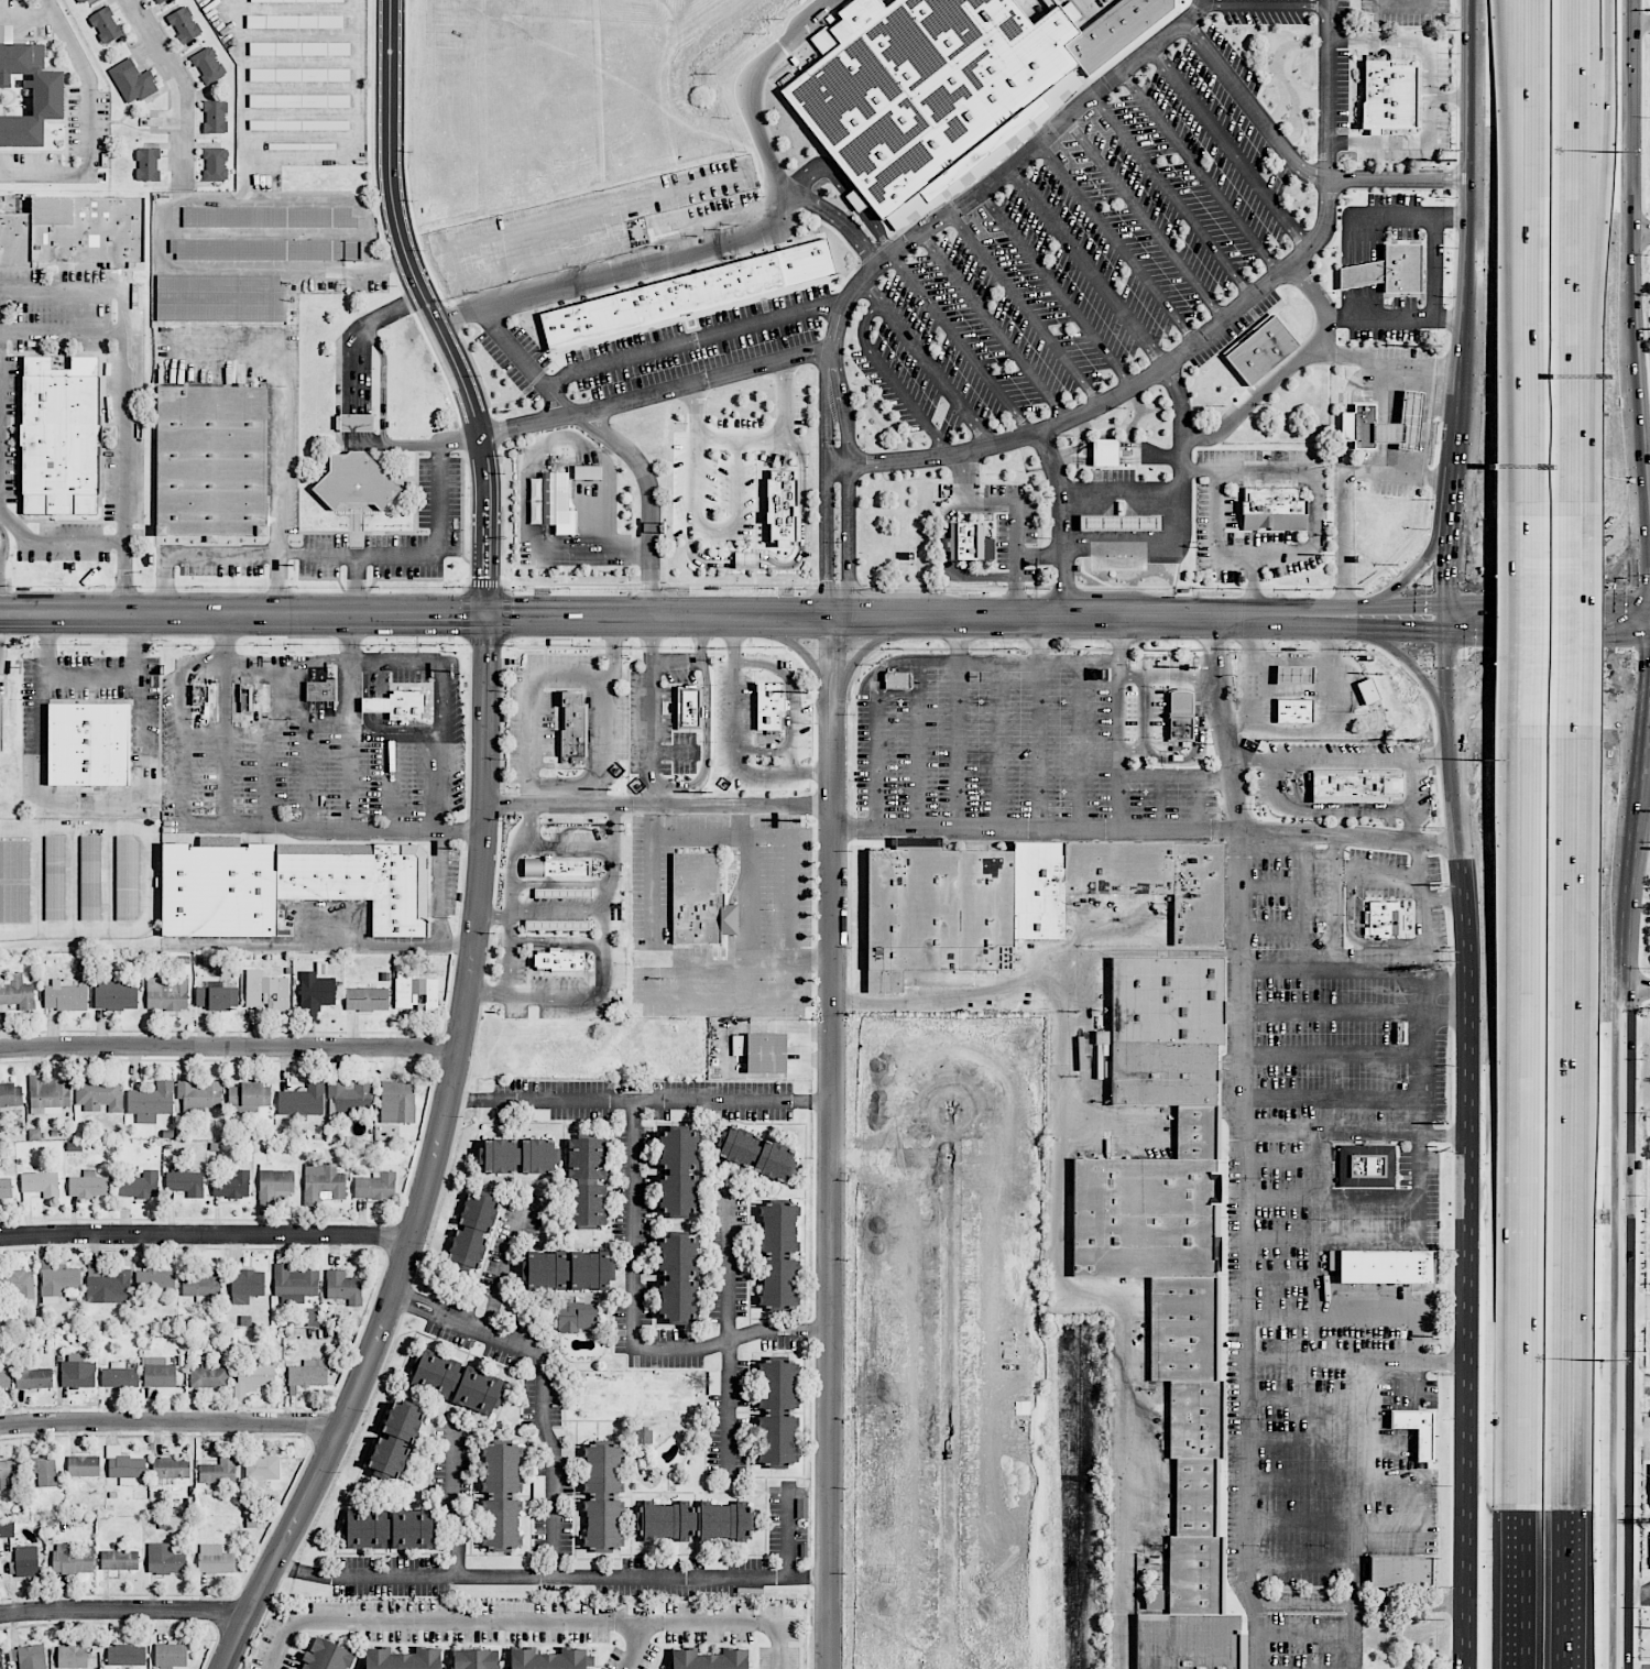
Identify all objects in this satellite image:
building: (81, 1)
building: (161, 1)
building: (302, 1)
road: (1406, 1)
road: (1263, 4)
road: (30, 14)
building: (294, 21)
road: (1638, 21)
building: (184, 24)
building: (106, 25)
building: (1112, 29)
building: (299, 48)
building: (208, 66)
building: (299, 75)
building: (132, 81)
building: (922, 84)
road: (751, 85)
road: (183, 86)
road: (1428, 90)
building: (26, 91)
building: (1388, 94)
road: (1454, 97)
building: (299, 100)
road: (1249, 107)
road: (1626, 116)
building: (215, 117)
building: (298, 126)
road: (92, 127)
road: (1528, 139)
road: (1538, 139)
road: (1230, 146)
building: (147, 164)
building: (215, 164)
road: (1200, 172)
road: (1403, 179)
road: (1480, 183)
road: (981, 185)
road: (849, 194)
road: (1170, 196)
road: (8, 205)
building: (267, 217)
road: (1457, 217)
road: (1144, 219)
road: (1638, 231)
building: (75, 233)
road: (1117, 240)
road: (1354, 240)
road: (1589, 241)
road: (1581, 242)
building: (265, 250)
road: (703, 250)
road: (1086, 266)
building: (1401, 269)
building: (1361, 274)
road: (1355, 276)
road: (1434, 282)
road: (1055, 287)
road: (1310, 288)
building: (685, 293)
building: (220, 297)
road: (1355, 303)
road: (1025, 306)
road: (430, 309)
road: (1454, 319)
road: (993, 326)
road: (1322, 327)
road: (63, 332)
road: (695, 341)
road: (1196, 341)
road: (961, 345)
building: (1261, 349)
road: (1298, 357)
road: (929, 362)
road: (892, 381)
road: (1386, 390)
road: (127, 391)
road: (1466, 391)
road: (358, 393)
road: (657, 393)
road: (1425, 395)
road: (783, 402)
road: (1394, 402)
road: (1411, 404)
road: (1423, 405)
road: (1639, 405)
road: (695, 410)
road: (830, 417)
road: (1536, 418)
building: (354, 423)
building: (1402, 423)
gas station: (1402, 423)
building: (1358, 425)
road: (594, 427)
road: (1401, 427)
road: (1421, 429)
road: (1385, 432)
building: (59, 436)
road: (718, 436)
road: (762, 438)
road: (824, 446)
building: (1104, 450)
road: (1384, 457)
building: (211, 459)
building: (587, 472)
road: (1456, 473)
road: (693, 477)
road: (281, 480)
building: (356, 481)
road: (1344, 487)
road: (1648, 491)
road: (1117, 495)
building: (553, 502)
road: (1315, 502)
road: (737, 503)
building: (782, 506)
building: (1274, 509)
road: (824, 510)
road: (848, 512)
road: (1178, 512)
road: (1017, 515)
road: (1062, 521)
building: (1117, 521)
gas station: (1117, 521)
road: (1581, 522)
road: (1215, 527)
road: (2, 541)
building: (965, 541)
road: (1649, 541)
road: (57, 542)
road: (595, 545)
road: (1041, 553)
road: (346, 554)
road: (794, 564)
road: (1447, 567)
road: (1417, 571)
road: (1547, 579)
road: (359, 585)
traffic signals: (1447, 585)
road: (827, 586)
traffic signals: (1485, 603)
road: (1549, 603)
road: (1384, 604)
traffic signals: (488, 615)
road: (243, 617)
road: (905, 618)
road: (1446, 618)
road: (1533, 624)
road: (1578, 628)
road: (1384, 631)
traffic signals: (1421, 633)
road: (1548, 634)
traffic signals: (1611, 636)
road: (698, 640)
road: (1118, 640)
road: (1039, 641)
road: (1543, 658)
traffic signals: (1649, 658)
road: (317, 659)
road: (402, 661)
road: (1291, 662)
road: (1119, 664)
road: (1416, 667)
road: (1250, 669)
building: (1296, 674)
gas station: (1296, 674)
building: (897, 680)
road: (876, 687)
building: (320, 689)
building: (1367, 690)
building: (199, 695)
building: (247, 697)
road: (793, 697)
road: (529, 701)
road: (442, 702)
road: (1648, 703)
building: (397, 705)
road: (649, 707)
building: (689, 707)
building: (769, 707)
building: (1294, 711)
building: (1180, 714)
road: (278, 717)
road: (351, 720)
road: (315, 721)
building: (1, 723)
road: (1327, 726)
building: (573, 727)
road: (396, 733)
road: (604, 735)
road: (1646, 737)
road: (225, 740)
road: (734, 740)
road: (706, 741)
building: (88, 743)
road: (1038, 745)
road: (1368, 759)
road: (1254, 761)
road: (307, 774)
road: (1174, 774)
building: (1355, 786)
road: (1643, 786)
road: (89, 795)
road: (656, 796)
road: (1411, 801)
road: (659, 804)
road: (1458, 808)
road: (217, 825)
road: (611, 826)
road: (1148, 829)
building: (568, 849)
road: (512, 857)
road: (1639, 858)
building: (15, 860)
road: (612, 866)
building: (555, 868)
building: (54, 877)
building: (90, 877)
building: (128, 877)
road: (149, 880)
building: (1158, 880)
building: (288, 884)
road: (746, 884)
building: (1038, 890)
building: (562, 893)
road: (1445, 897)
building: (697, 899)
road: (605, 901)
road: (442, 902)
building: (14, 903)
building: (939, 908)
road: (1425, 913)
road: (493, 914)
road: (557, 915)
building: (1386, 918)
building: (557, 925)
road: (556, 940)
road: (376, 945)
road: (791, 948)
road: (658, 951)
road: (504, 953)
building: (560, 960)
road: (816, 963)
road: (1338, 978)
road: (1453, 983)
road: (1635, 990)
building: (266, 991)
building: (18, 992)
building: (415, 992)
building: (166, 993)
building: (315, 994)
building: (114, 995)
building: (65, 996)
building: (216, 997)
building: (367, 999)
building: (1167, 1000)
road: (577, 1001)
road: (1647, 1025)
road: (229, 1047)
building: (766, 1052)
road: (1429, 1058)
road: (1648, 1063)
building: (1162, 1073)
building: (48, 1094)
building: (99, 1094)
building: (11, 1095)
building: (199, 1095)
building: (349, 1095)
building: (249, 1098)
road: (642, 1100)
building: (303, 1101)
building: (397, 1101)
building: (151, 1102)
building: (1195, 1131)
road: (1357, 1133)
road: (832, 1143)
road: (1247, 1143)
building: (755, 1153)
building: (518, 1155)
road: (436, 1163)
road: (1620, 1163)
building: (1366, 1166)
building: (678, 1172)
road: (1529, 1179)
building: (185, 1181)
road: (1562, 1181)
building: (587, 1182)
building: (41, 1183)
building: (323, 1183)
building: (139, 1185)
building: (232, 1185)
building: (88, 1186)
building: (375, 1186)
building: (273, 1187)
building: (6, 1188)
building: (1144, 1217)
building: (471, 1232)
road: (207, 1235)
road: (1312, 1240)
road: (1058, 1254)
building: (779, 1255)
building: (1380, 1265)
road: (503, 1266)
road: (726, 1267)
building: (568, 1270)
building: (677, 1277)
building: (57, 1279)
building: (155, 1280)
building: (21, 1283)
building: (203, 1284)
building: (294, 1284)
building: (247, 1285)
building: (108, 1286)
building: (343, 1287)
building: (576, 1316)
building: (313, 1317)
road: (631, 1322)
road: (1468, 1327)
building: (1182, 1328)
road: (1304, 1356)
building: (77, 1372)
building: (159, 1372)
building: (308, 1373)
building: (120, 1375)
building: (208, 1377)
building: (252, 1377)
building: (4, 1378)
building: (34, 1378)
building: (457, 1381)
road: (1635, 1384)
road: (546, 1386)
building: (636, 1396)
road: (728, 1404)
building: (777, 1412)
building: (1194, 1418)
road: (172, 1422)
road: (1635, 1428)
building: (1417, 1429)
building: (396, 1439)
road: (1357, 1458)
building: (260, 1464)
building: (83, 1465)
building: (124, 1465)
building: (171, 1468)
building: (43, 1471)
building: (218, 1471)
building: (8, 1475)
building: (501, 1495)
building: (602, 1496)
building: (1191, 1497)
road: (452, 1504)
building: (695, 1520)
building: (7, 1528)
building: (389, 1528)
road: (788, 1530)
building: (165, 1559)
building: (215, 1559)
building: (72, 1560)
building: (119, 1560)
building: (25, 1561)
building: (1399, 1570)
road: (553, 1574)
building: (1192, 1574)
road: (1636, 1593)
building: (1154, 1601)
road: (1363, 1601)
road: (123, 1611)
road: (527, 1623)
building: (1185, 1640)
road: (634, 1646)
building: (125, 1655)
building: (171, 1655)
building: (72, 1656)
building: (327, 1656)
building: (402, 1658)
building: (474, 1659)
building: (547, 1659)
building: (709, 1659)

